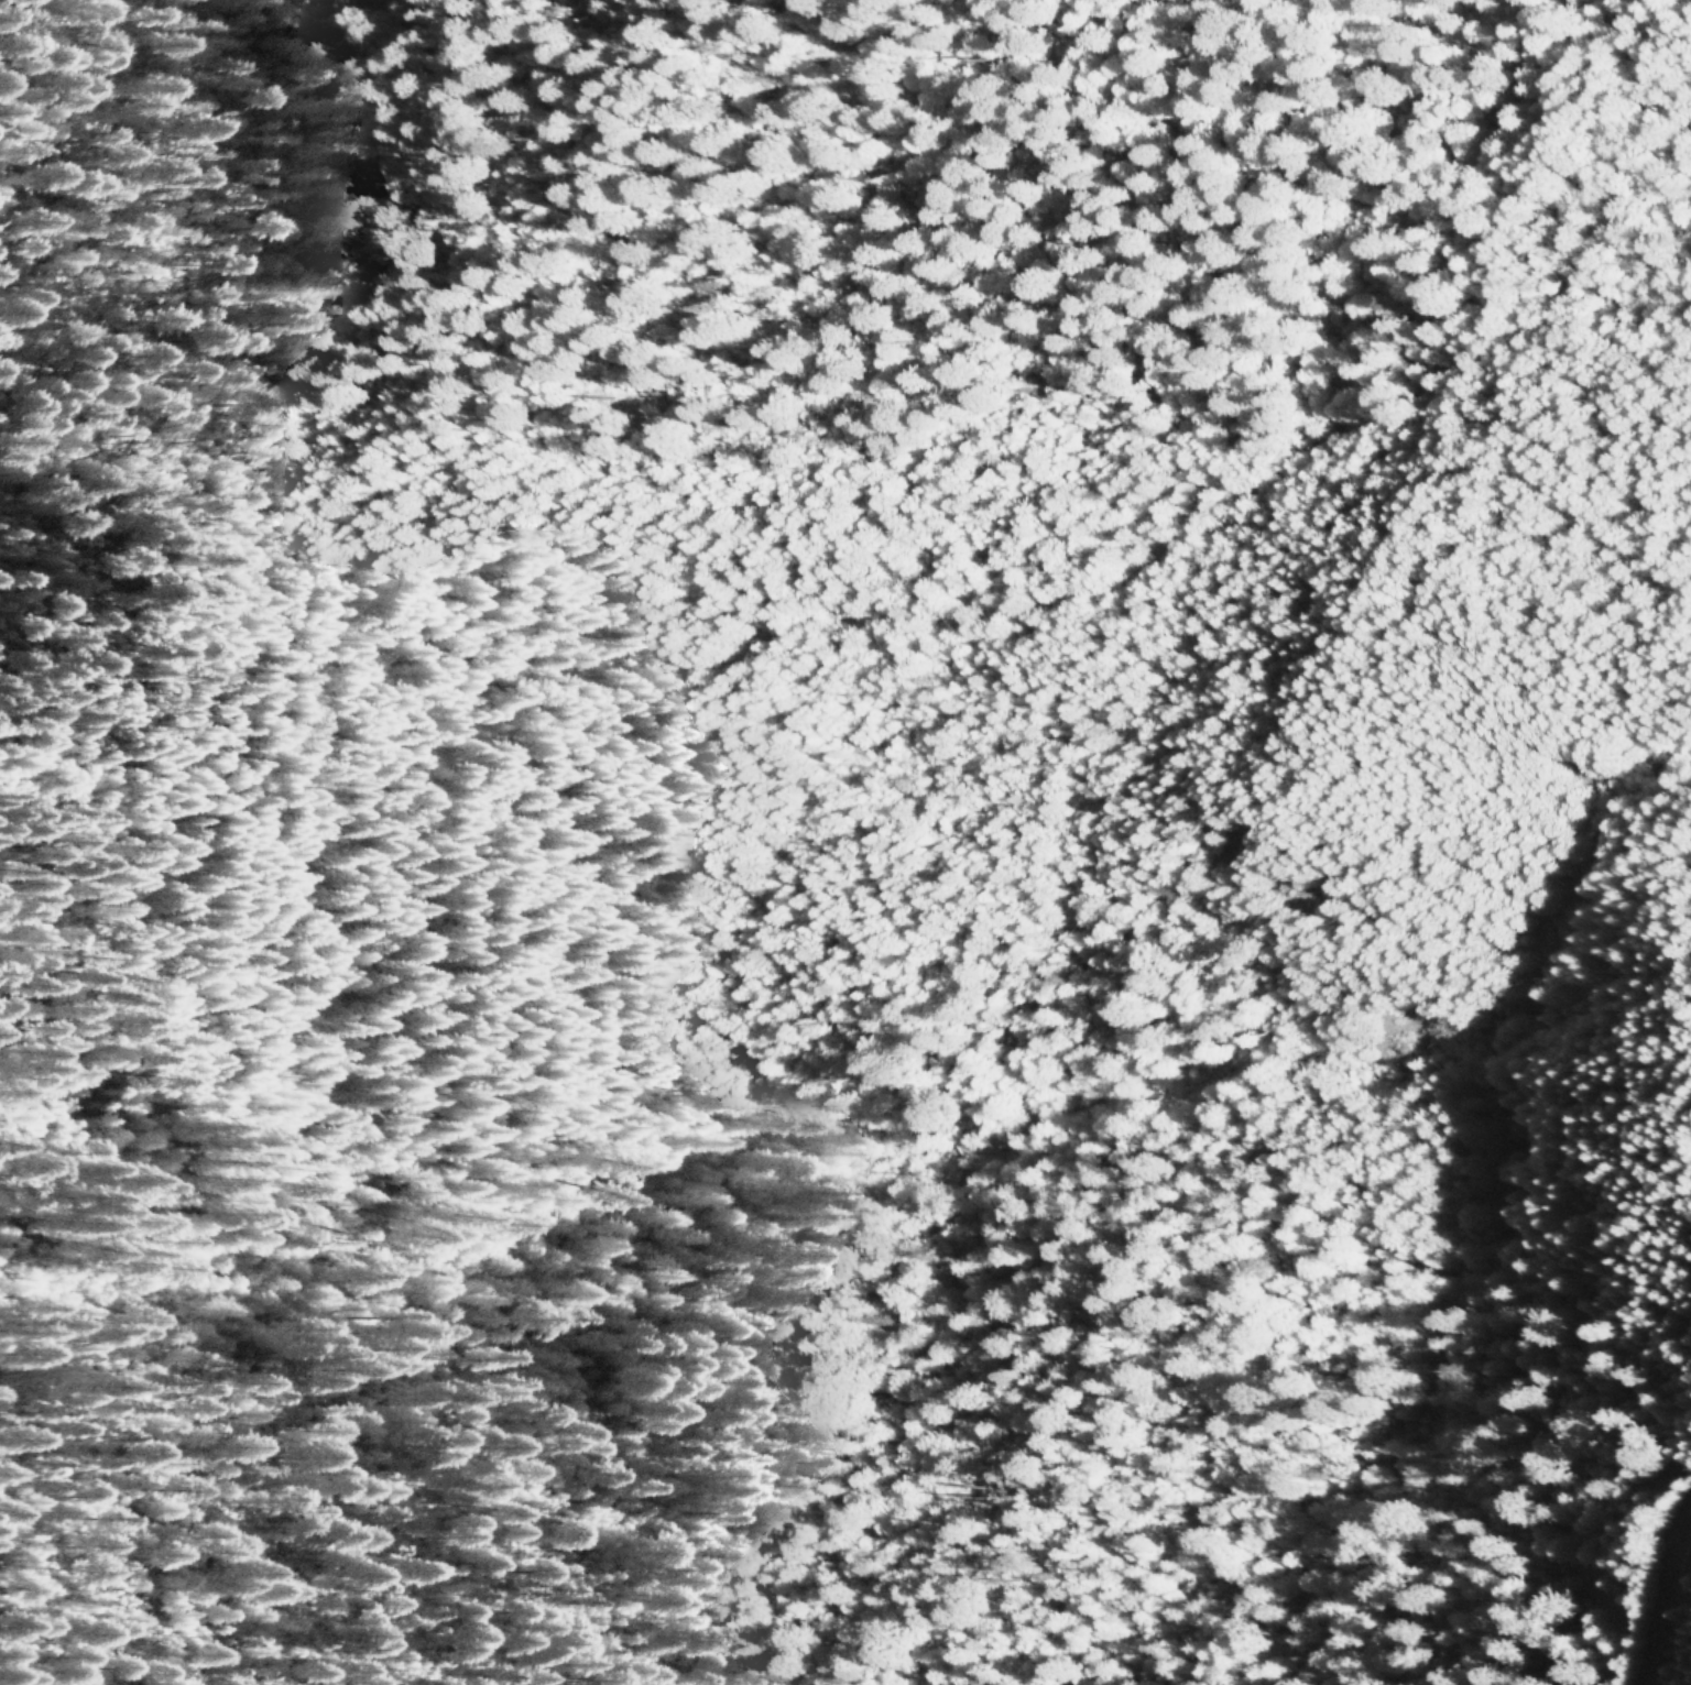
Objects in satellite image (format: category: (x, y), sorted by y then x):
road: (197, 672)
road: (1644, 1588)

